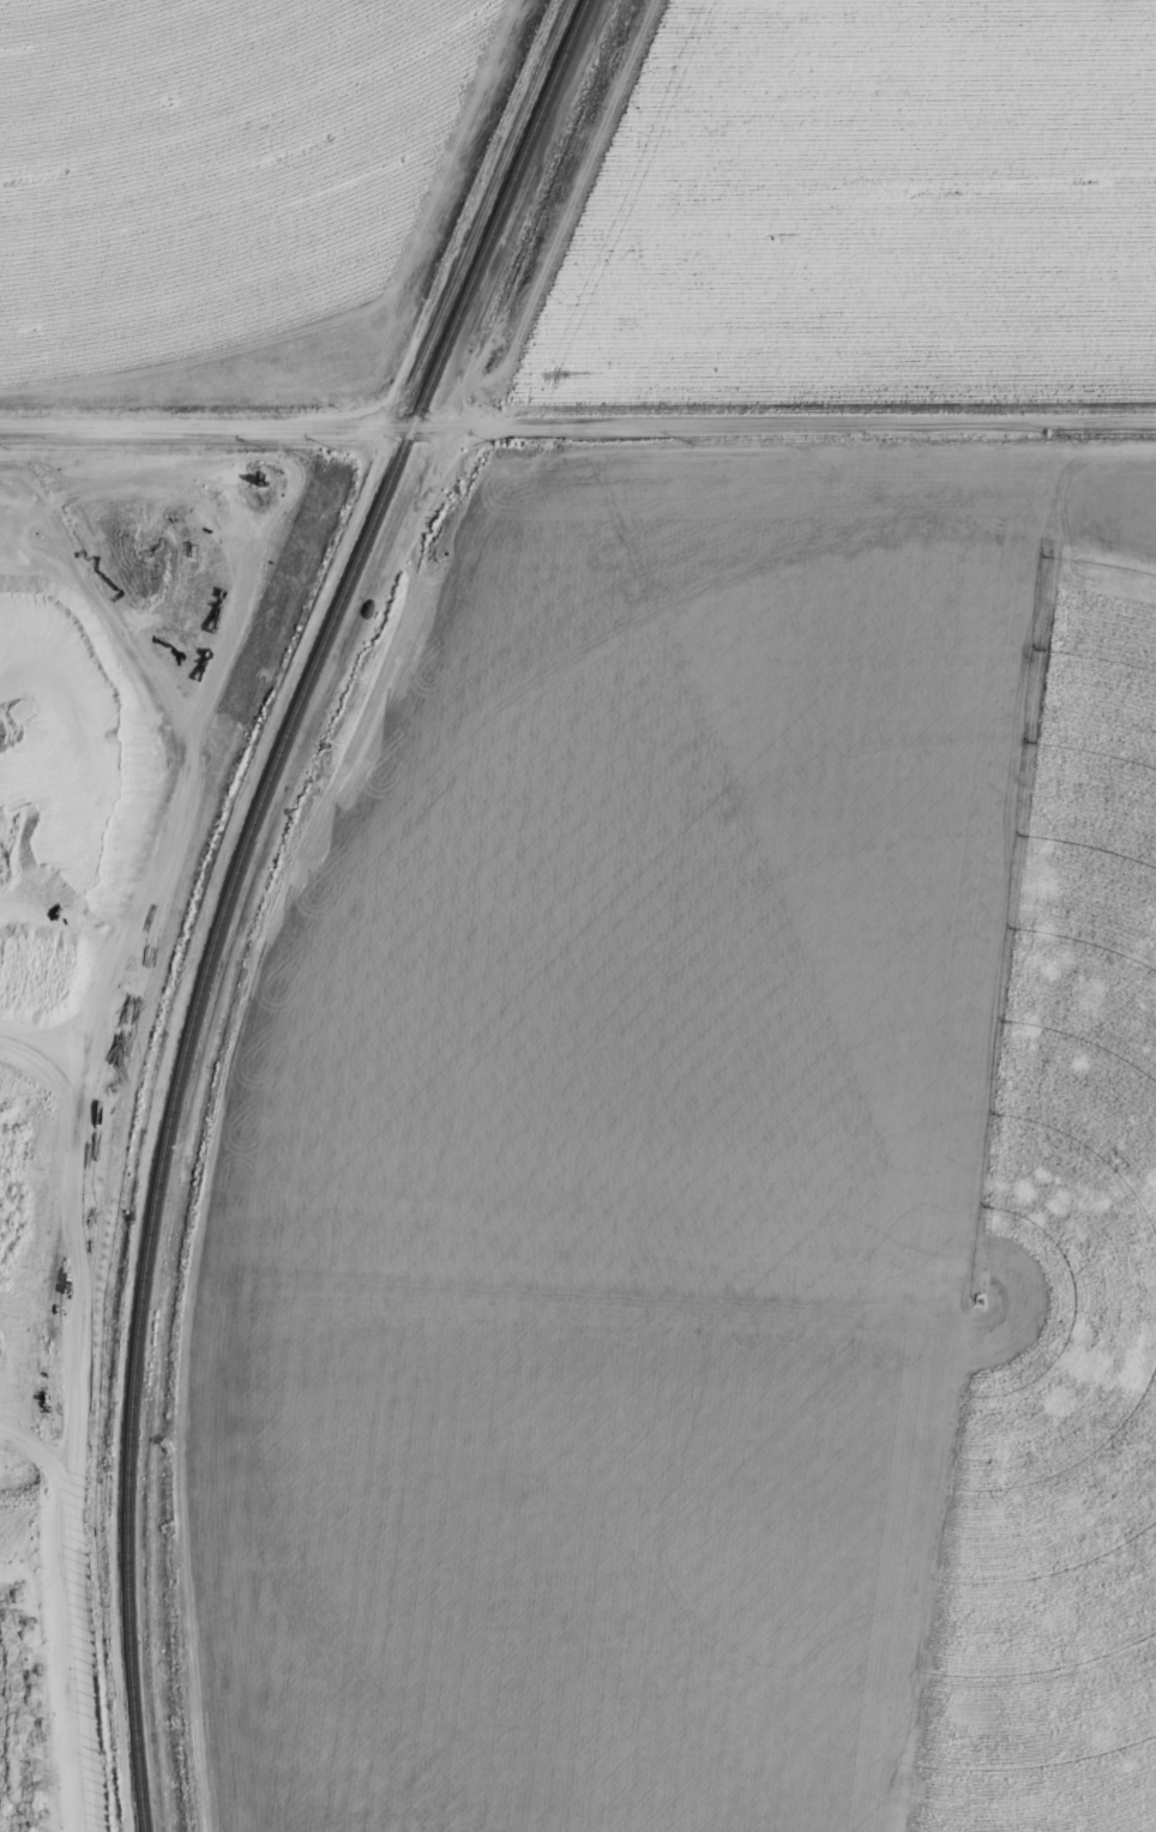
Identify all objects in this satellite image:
crop: (206, 163)
railway: (499, 213)
road: (562, 213)
road: (354, 309)
road: (577, 426)
road: (47, 512)
road: (257, 658)
road: (189, 753)
road: (89, 1016)
road: (231, 1109)
railway: (170, 1110)
crop: (1096, 1274)
road: (988, 1285)
road: (71, 1416)
road: (34, 1452)

